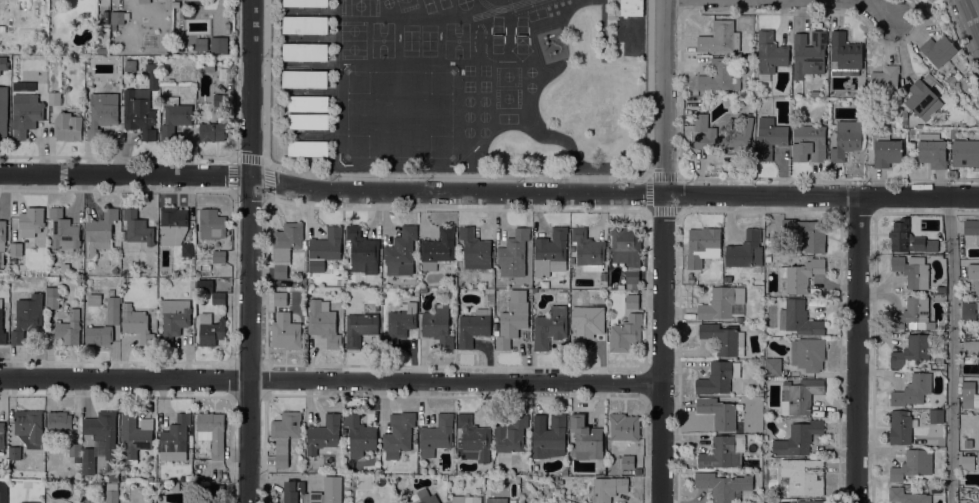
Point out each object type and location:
building: (188, 0)
building: (143, 1)
building: (305, 3)
road: (977, 3)
building: (631, 7)
road: (880, 9)
road: (252, 11)
building: (105, 16)
building: (117, 18)
building: (305, 24)
building: (3, 28)
building: (720, 37)
road: (960, 41)
building: (201, 43)
building: (219, 44)
building: (938, 49)
building: (304, 51)
building: (809, 53)
building: (770, 54)
building: (844, 54)
building: (746, 59)
building: (3, 62)
building: (206, 66)
building: (223, 74)
building: (931, 75)
building: (718, 76)
building: (304, 78)
building: (950, 80)
building: (937, 81)
building: (884, 82)
building: (54, 97)
building: (922, 99)
building: (308, 102)
road: (681, 102)
building: (141, 105)
building: (3, 111)
building: (102, 112)
building: (26, 115)
building: (174, 117)
building: (308, 120)
building: (67, 126)
building: (705, 130)
building: (212, 131)
building: (954, 132)
building: (770, 137)
building: (846, 139)
building: (809, 143)
building: (308, 148)
building: (932, 149)
building: (886, 150)
building: (965, 152)
road: (161, 157)
road: (233, 157)
road: (251, 161)
road: (265, 162)
road: (461, 176)
road: (488, 192)
road: (233, 193)
road: (250, 195)
building: (31, 222)
building: (173, 224)
building: (212, 224)
building: (137, 227)
building: (63, 231)
building: (99, 231)
building: (971, 231)
building: (807, 233)
building: (2, 234)
building: (908, 238)
building: (768, 240)
building: (702, 245)
building: (285, 246)
building: (437, 247)
building: (16, 248)
building: (324, 248)
building: (187, 249)
building: (474, 249)
building: (588, 249)
building: (362, 250)
building: (745, 250)
building: (401, 251)
building: (627, 251)
road: (663, 251)
building: (551, 252)
building: (513, 253)
building: (218, 256)
road: (249, 262)
building: (65, 266)
building: (912, 270)
building: (972, 270)
building: (125, 271)
building: (801, 274)
road: (232, 276)
building: (603, 276)
building: (53, 278)
building: (727, 279)
building: (278, 281)
building: (204, 285)
building: (111, 289)
building: (422, 290)
road: (883, 294)
building: (52, 296)
building: (280, 297)
building: (218, 298)
building: (94, 299)
building: (632, 301)
building: (721, 302)
building: (969, 309)
building: (113, 310)
building: (914, 315)
building: (27, 317)
building: (174, 318)
building: (798, 318)
road: (897, 320)
building: (400, 321)
building: (136, 322)
building: (323, 322)
building: (512, 324)
building: (587, 324)
building: (438, 325)
building: (1, 326)
building: (473, 326)
building: (550, 326)
building: (360, 327)
building: (69, 328)
building: (210, 329)
building: (978, 329)
building: (285, 331)
building: (625, 333)
building: (98, 334)
building: (724, 338)
building: (970, 347)
road: (952, 349)
road: (855, 350)
building: (911, 351)
building: (808, 353)
road: (231, 362)
building: (772, 366)
building: (718, 376)
road: (233, 380)
road: (330, 380)
building: (912, 389)
building: (969, 394)
road: (167, 395)
building: (800, 395)
road: (231, 397)
building: (718, 412)
building: (936, 415)
building: (538, 420)
building: (59, 422)
building: (29, 424)
building: (978, 424)
building: (624, 426)
building: (901, 426)
building: (103, 430)
building: (212, 431)
building: (175, 433)
building: (323, 433)
building: (398, 433)
building: (510, 433)
building: (135, 434)
building: (285, 434)
building: (2, 435)
building: (359, 435)
building: (436, 435)
building: (750, 436)
building: (550, 438)
building: (585, 438)
building: (798, 438)
building: (473, 439)
building: (968, 443)
building: (739, 444)
building: (99, 447)
building: (75, 450)
building: (720, 453)
building: (14, 455)
building: (88, 460)
building: (627, 461)
building: (637, 461)
building: (967, 462)
building: (913, 464)
building: (803, 475)
building: (113, 477)
building: (724, 485)
building: (175, 486)
building: (608, 488)
building: (219, 489)
building: (332, 489)
building: (3, 492)
building: (300, 493)
building: (111, 495)
building: (426, 496)
building: (907, 496)
building: (978, 496)
building: (465, 498)
building: (498, 500)
building: (88, 501)
building: (810, 501)
building: (29, 502)

